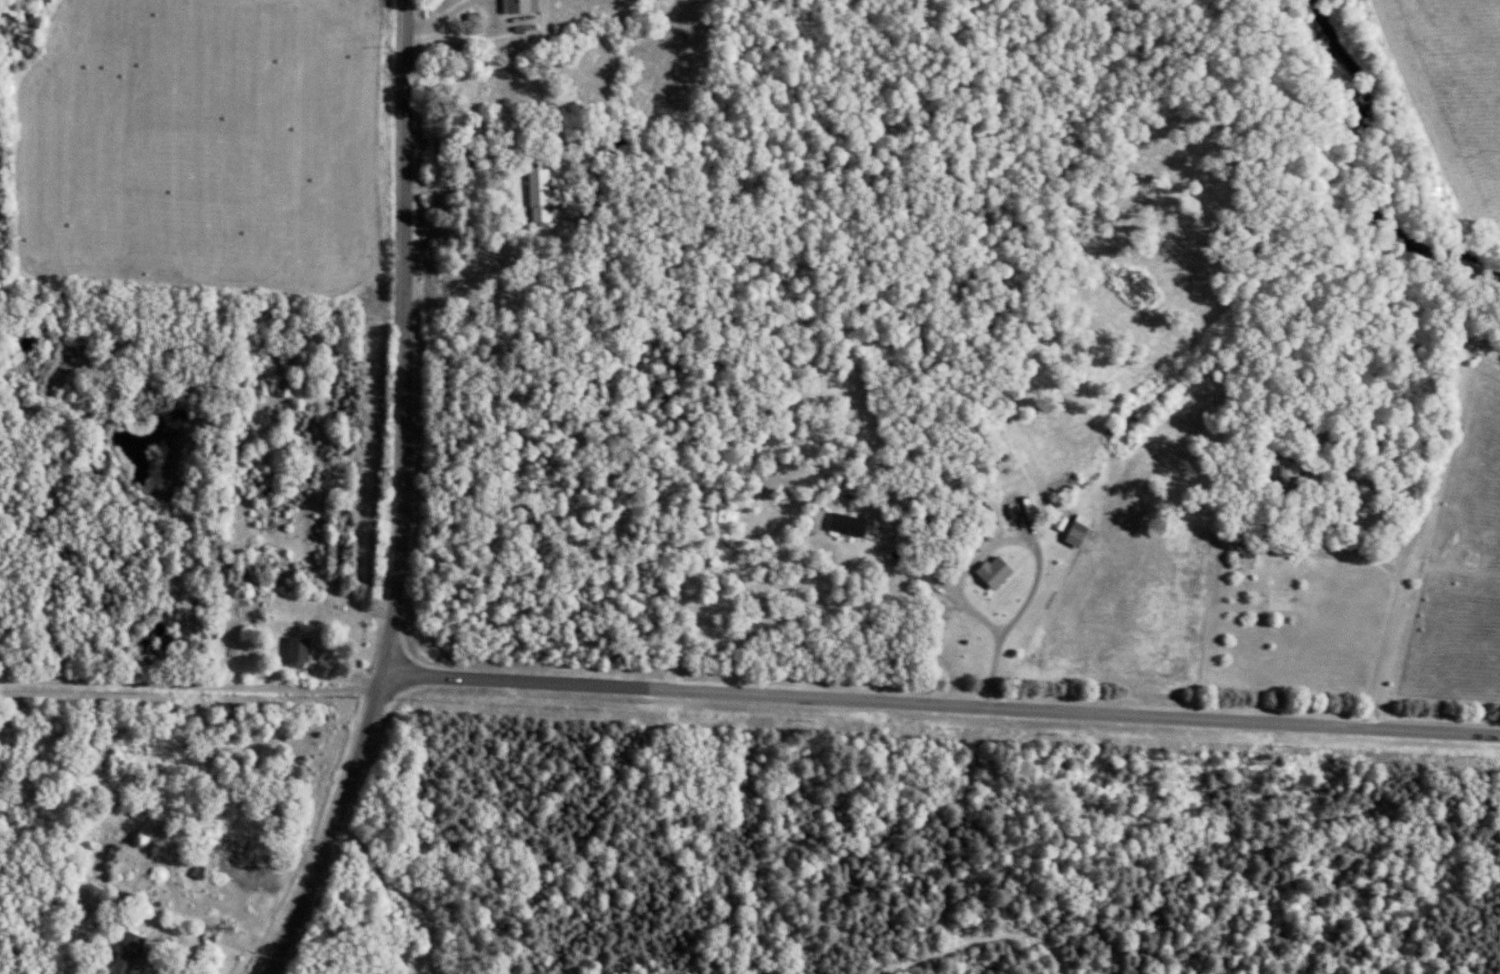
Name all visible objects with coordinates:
building: (525, 5)
road: (468, 187)
building: (545, 187)
building: (1289, 472)
road: (402, 497)
building: (853, 523)
building: (993, 527)
building: (1084, 529)
building: (1000, 571)
building: (303, 648)
road: (941, 701)
building: (132, 952)

